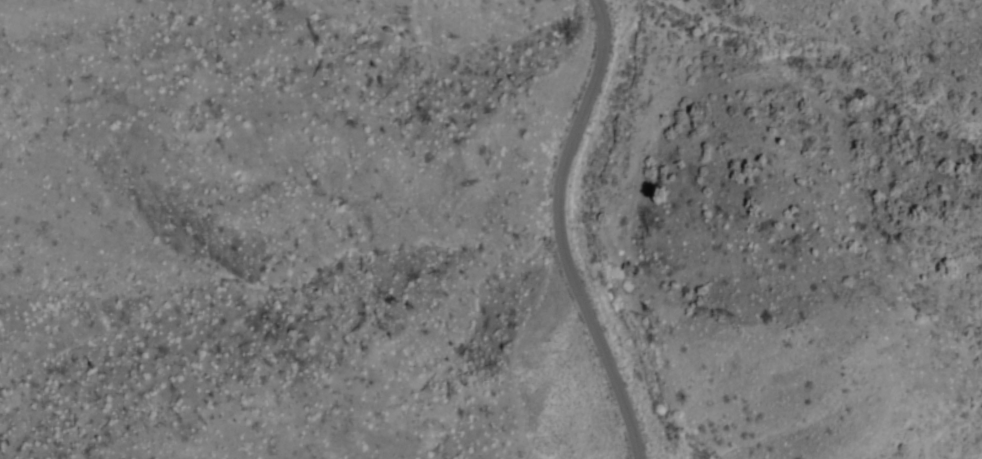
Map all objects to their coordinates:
road: (543, 232)

